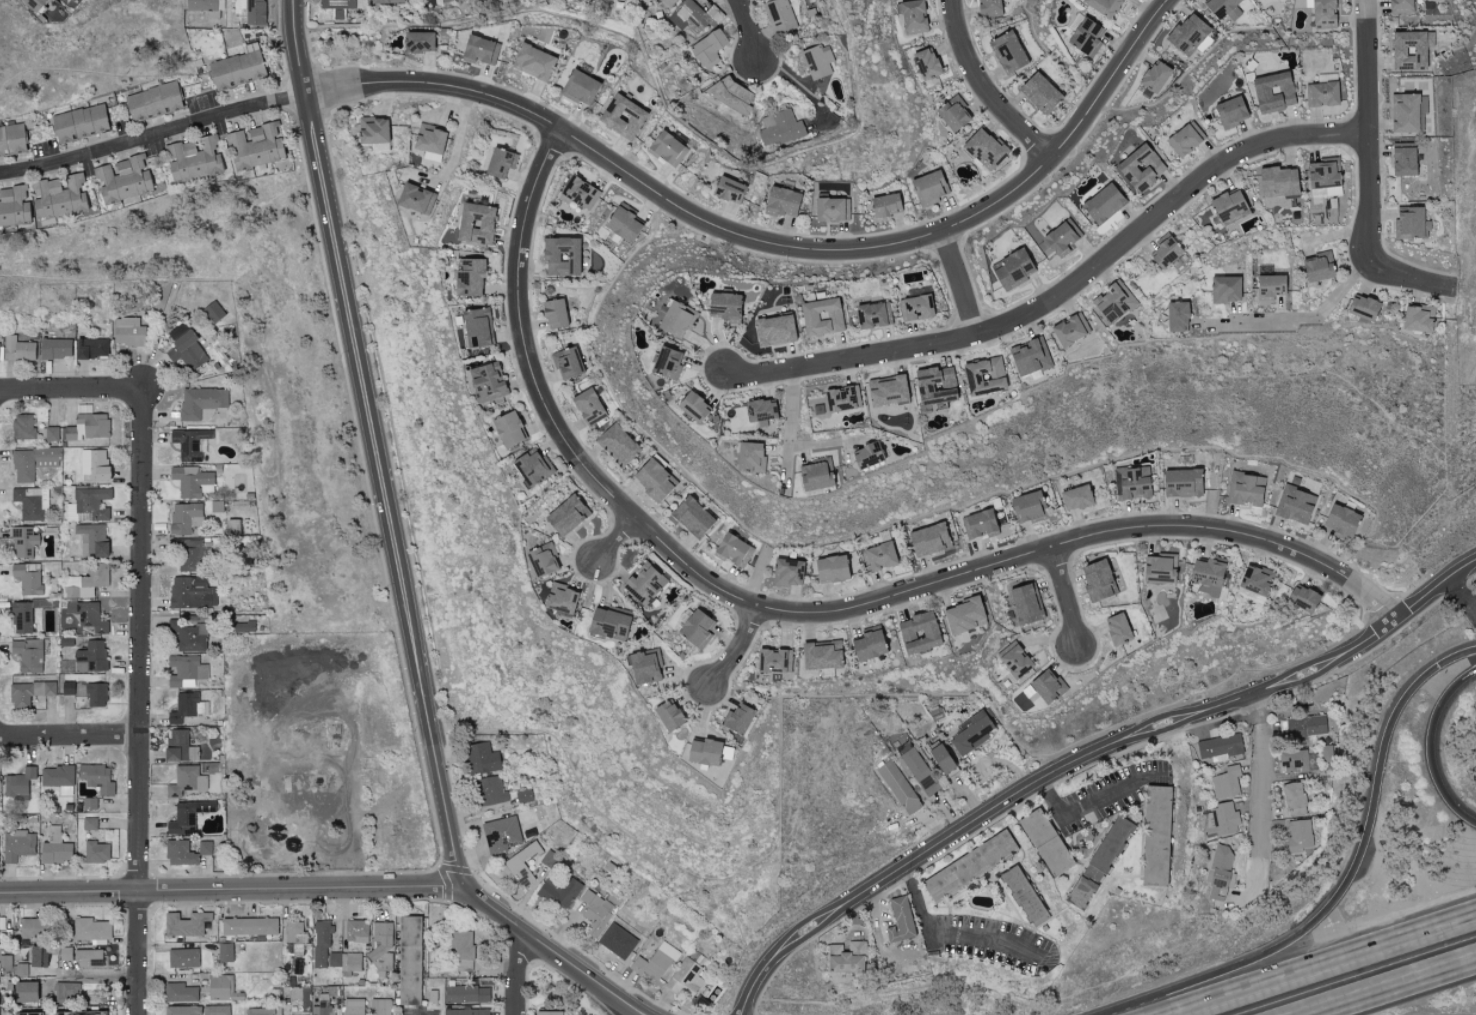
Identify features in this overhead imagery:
building: (445, 0)
building: (386, 1)
building: (31, 3)
building: (336, 4)
building: (1103, 6)
building: (1219, 6)
building: (1400, 6)
building: (204, 7)
building: (988, 7)
building: (249, 12)
building: (1322, 12)
building: (694, 16)
building: (779, 16)
building: (912, 17)
road: (749, 30)
building: (1186, 33)
building: (1085, 37)
building: (417, 41)
building: (708, 47)
building: (1409, 49)
building: (478, 50)
building: (1006, 51)
building: (532, 61)
building: (818, 62)
building: (925, 63)
building: (236, 67)
building: (1154, 75)
road: (802, 86)
road: (986, 86)
building: (579, 87)
building: (1272, 91)
building: (1039, 92)
building: (1320, 93)
building: (732, 95)
building: (153, 101)
building: (1229, 111)
building: (1407, 112)
building: (952, 113)
building: (622, 117)
building: (79, 123)
building: (780, 129)
building: (373, 133)
road: (155, 137)
building: (1184, 138)
building: (12, 139)
road: (459, 139)
building: (429, 141)
building: (253, 146)
building: (665, 148)
building: (983, 148)
building: (192, 158)
building: (1403, 158)
building: (499, 162)
building: (1139, 167)
road: (1371, 174)
building: (1322, 177)
building: (122, 178)
building: (1276, 181)
building: (928, 188)
building: (728, 189)
building: (579, 193)
building: (58, 197)
building: (415, 198)
building: (781, 201)
building: (1101, 203)
building: (883, 204)
building: (14, 206)
building: (1228, 207)
building: (831, 208)
building: (621, 221)
building: (474, 223)
building: (1409, 223)
building: (1060, 235)
road: (773, 242)
building: (1164, 252)
building: (563, 257)
building: (1011, 267)
building: (1316, 267)
building: (468, 277)
road: (964, 284)
building: (1268, 287)
building: (1224, 289)
road: (1067, 299)
building: (1113, 301)
building: (724, 306)
building: (916, 307)
building: (1361, 307)
building: (212, 312)
building: (553, 313)
building: (872, 314)
road: (1302, 315)
building: (820, 316)
building: (1176, 316)
building: (1416, 317)
building: (676, 318)
building: (475, 327)
building: (1069, 328)
building: (773, 329)
building: (128, 331)
building: (54, 348)
building: (91, 348)
building: (18, 349)
building: (186, 350)
building: (1029, 356)
building: (665, 362)
building: (566, 363)
building: (983, 375)
building: (485, 383)
road: (70, 389)
building: (887, 392)
building: (839, 399)
building: (201, 402)
building: (587, 406)
building: (691, 406)
building: (759, 409)
building: (22, 427)
building: (88, 427)
building: (507, 429)
building: (51, 433)
road: (789, 435)
road: (378, 442)
building: (190, 443)
building: (616, 444)
building: (865, 455)
building: (749, 456)
building: (33, 462)
building: (94, 464)
building: (532, 466)
building: (651, 479)
building: (190, 480)
building: (1132, 482)
building: (1180, 483)
building: (1245, 489)
building: (1075, 497)
building: (31, 503)
building: (89, 505)
building: (1295, 505)
building: (1025, 506)
building: (566, 515)
building: (691, 516)
building: (183, 517)
building: (1340, 521)
building: (979, 523)
building: (232, 526)
road: (622, 538)
building: (927, 539)
building: (92, 540)
building: (23, 542)
building: (732, 550)
building: (190, 555)
building: (877, 556)
building: (541, 559)
building: (830, 568)
building: (1159, 568)
building: (1207, 571)
building: (786, 572)
building: (28, 578)
building: (1096, 580)
building: (86, 582)
building: (1255, 582)
building: (644, 584)
road: (1433, 589)
building: (1207, 591)
road: (1459, 592)
building: (190, 593)
building: (560, 598)
road: (1062, 598)
building: (1301, 598)
building: (1025, 603)
road: (1473, 605)
road: (1473, 606)
road: (808, 611)
building: (87, 616)
building: (962, 616)
building: (22, 617)
building: (608, 623)
building: (243, 627)
building: (695, 629)
building: (1116, 629)
building: (918, 633)
building: (187, 636)
building: (867, 645)
road: (737, 646)
building: (28, 655)
building: (819, 655)
building: (90, 657)
building: (1014, 661)
building: (644, 666)
building: (185, 671)
building: (1046, 686)
building: (67, 688)
building: (29, 693)
building: (95, 695)
building: (1031, 695)
road: (139, 702)
building: (187, 708)
building: (667, 715)
building: (738, 718)
building: (1304, 727)
building: (970, 734)
road: (69, 737)
road: (1432, 745)
building: (1218, 746)
building: (178, 747)
building: (701, 751)
building: (940, 759)
building: (1293, 762)
building: (919, 771)
building: (56, 776)
building: (96, 778)
road: (1041, 778)
building: (186, 781)
building: (1227, 783)
building: (18, 785)
building: (898, 788)
building: (65, 791)
road: (1256, 795)
building: (1293, 799)
building: (89, 803)
road: (1092, 804)
building: (186, 817)
building: (1223, 820)
building: (86, 824)
building: (1298, 835)
building: (1154, 836)
building: (1044, 842)
building: (19, 846)
building: (55, 848)
building: (204, 848)
road: (344, 848)
building: (96, 852)
building: (179, 853)
building: (1098, 862)
building: (968, 866)
building: (1218, 871)
road: (1356, 876)
building: (583, 879)
road: (315, 888)
building: (1023, 896)
road: (876, 910)
building: (899, 921)
building: (185, 924)
building: (249, 926)
building: (31, 928)
building: (91, 929)
building: (356, 931)
road: (949, 935)
building: (296, 939)
building: (321, 944)
building: (382, 945)
building: (461, 949)
building: (224, 952)
building: (37, 957)
building: (88, 958)
building: (182, 958)
building: (845, 959)
building: (410, 960)
building: (345, 961)
park: (441, 967)
road: (1319, 967)
building: (22, 969)
road: (515, 972)
road: (98, 976)
building: (220, 986)
park: (549, 987)
road: (1396, 989)
building: (24, 992)
building: (66, 992)
building: (179, 993)
building: (471, 993)
park: (439, 997)
road: (610, 999)
road: (613, 999)
road: (626, 999)
building: (325, 1007)
building: (366, 1007)
building: (181, 1010)
building: (215, 1010)
building: (259, 1011)
parking lot: (417, 1012)
road: (419, 1012)
building: (469, 1012)
building: (562, 1012)
building: (78, 1013)
building: (25, 1014)

